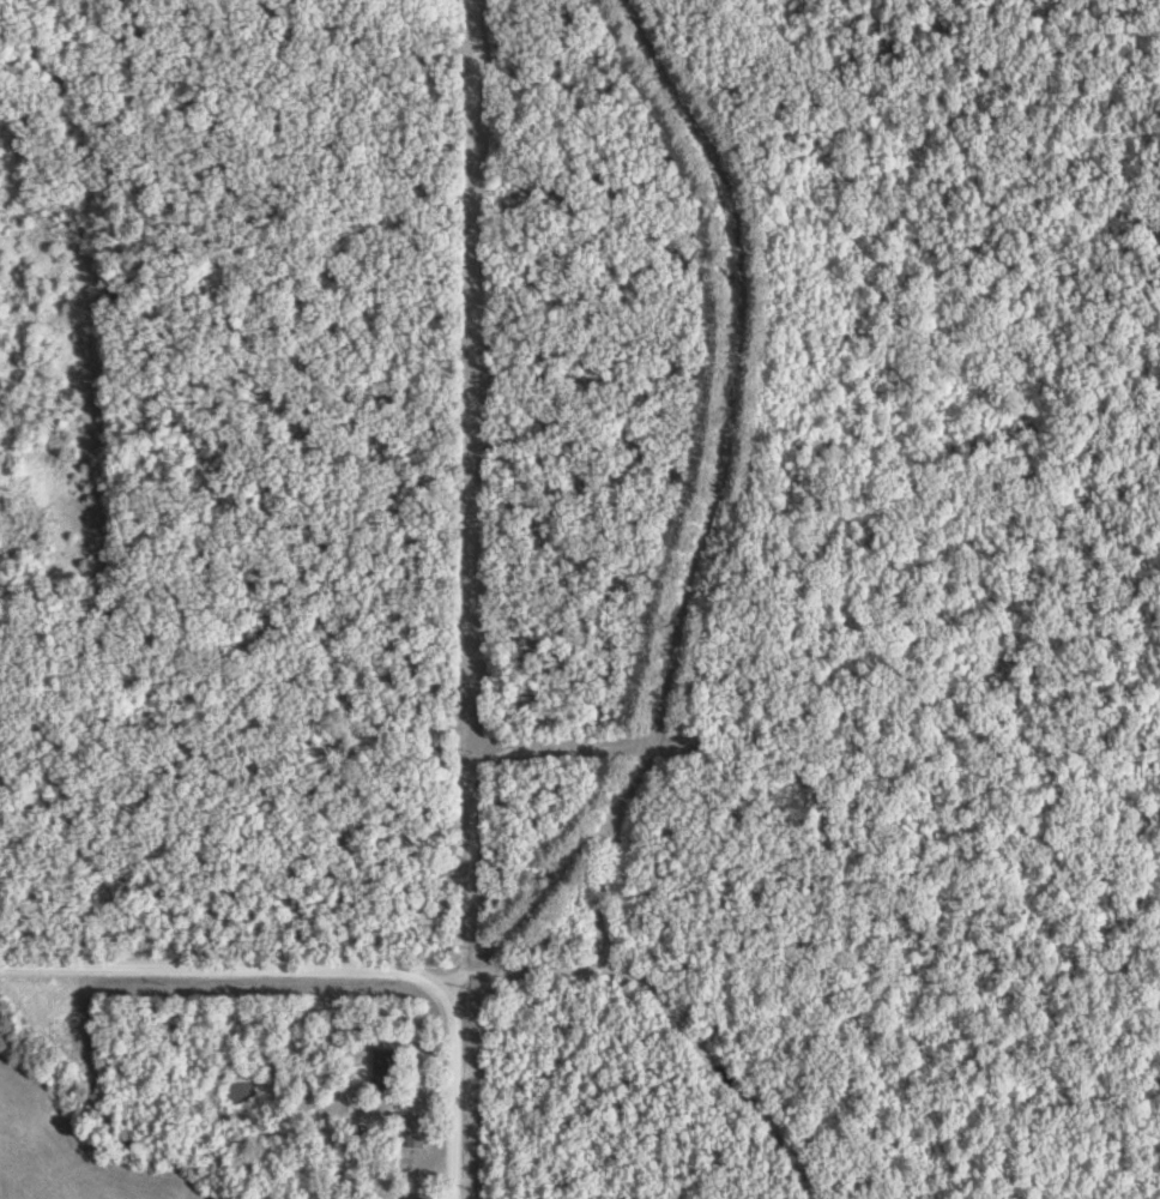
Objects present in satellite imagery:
road: (718, 486)
road: (530, 920)
road: (226, 969)
road: (687, 1016)
road: (455, 1085)
building: (421, 1128)

